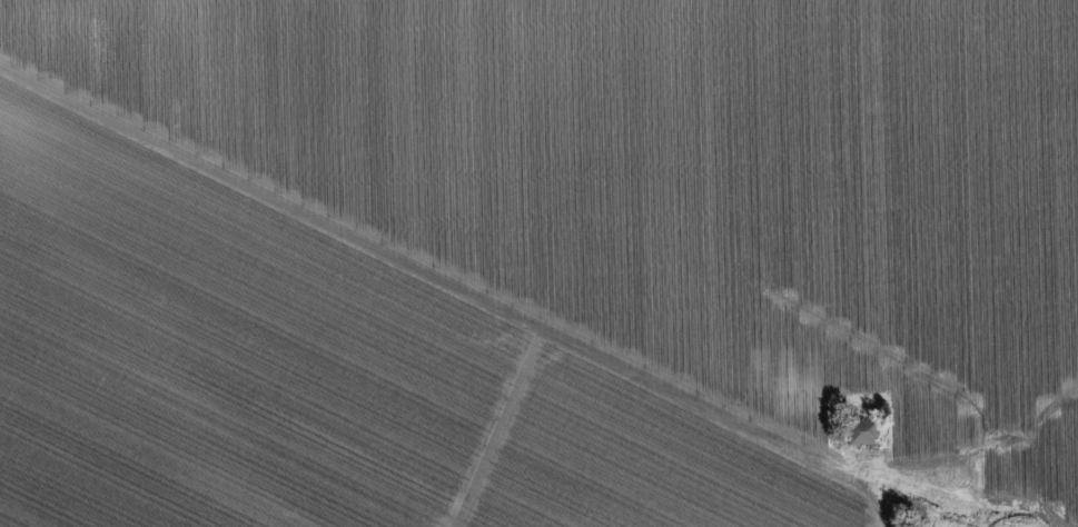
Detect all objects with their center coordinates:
road: (485, 302)

